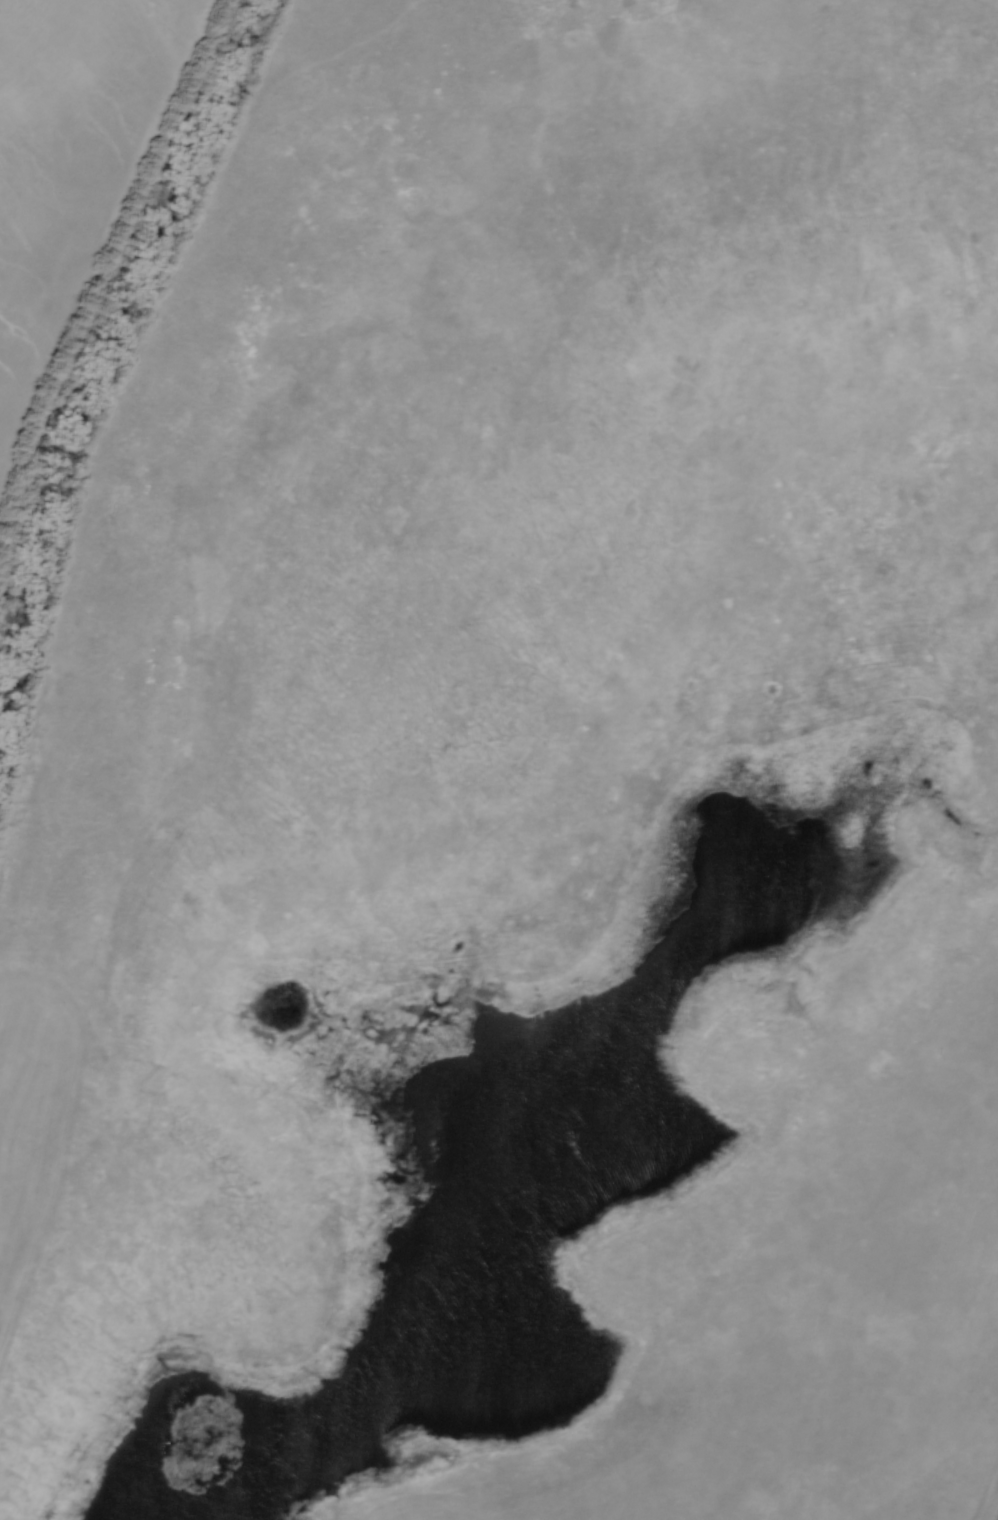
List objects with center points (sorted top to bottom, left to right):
road: (997, 1519)

